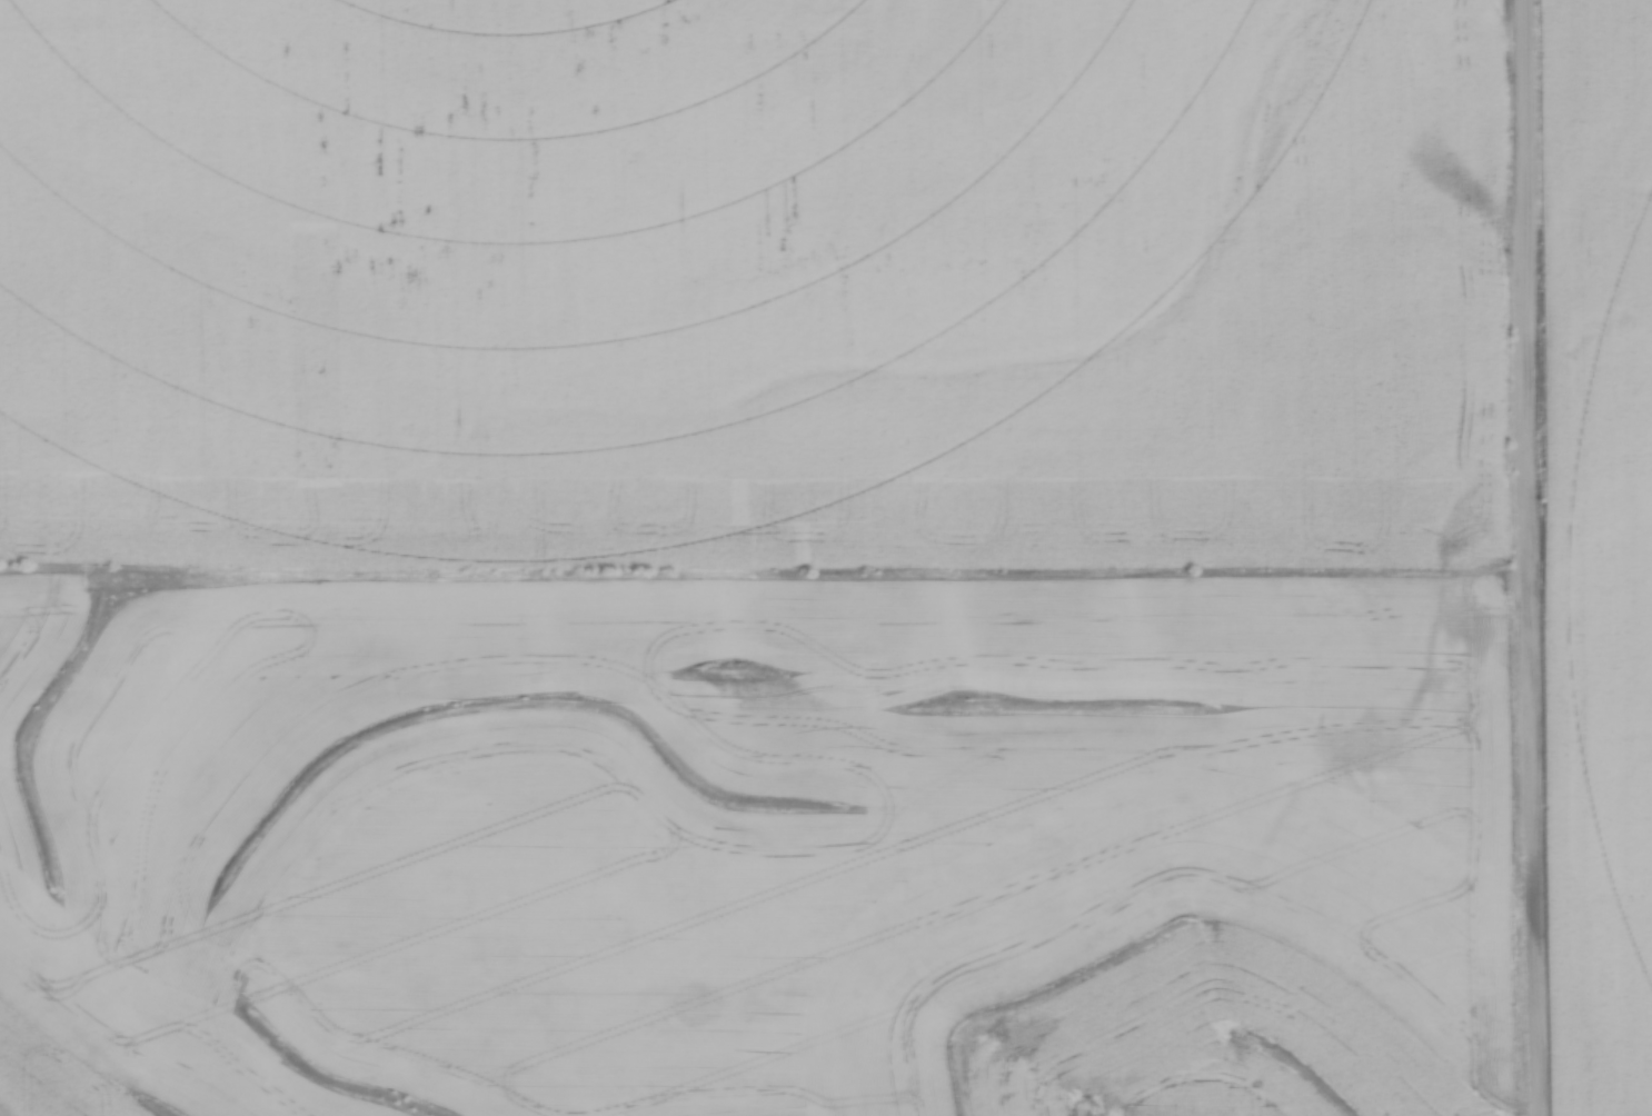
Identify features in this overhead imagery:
road: (1530, 558)

